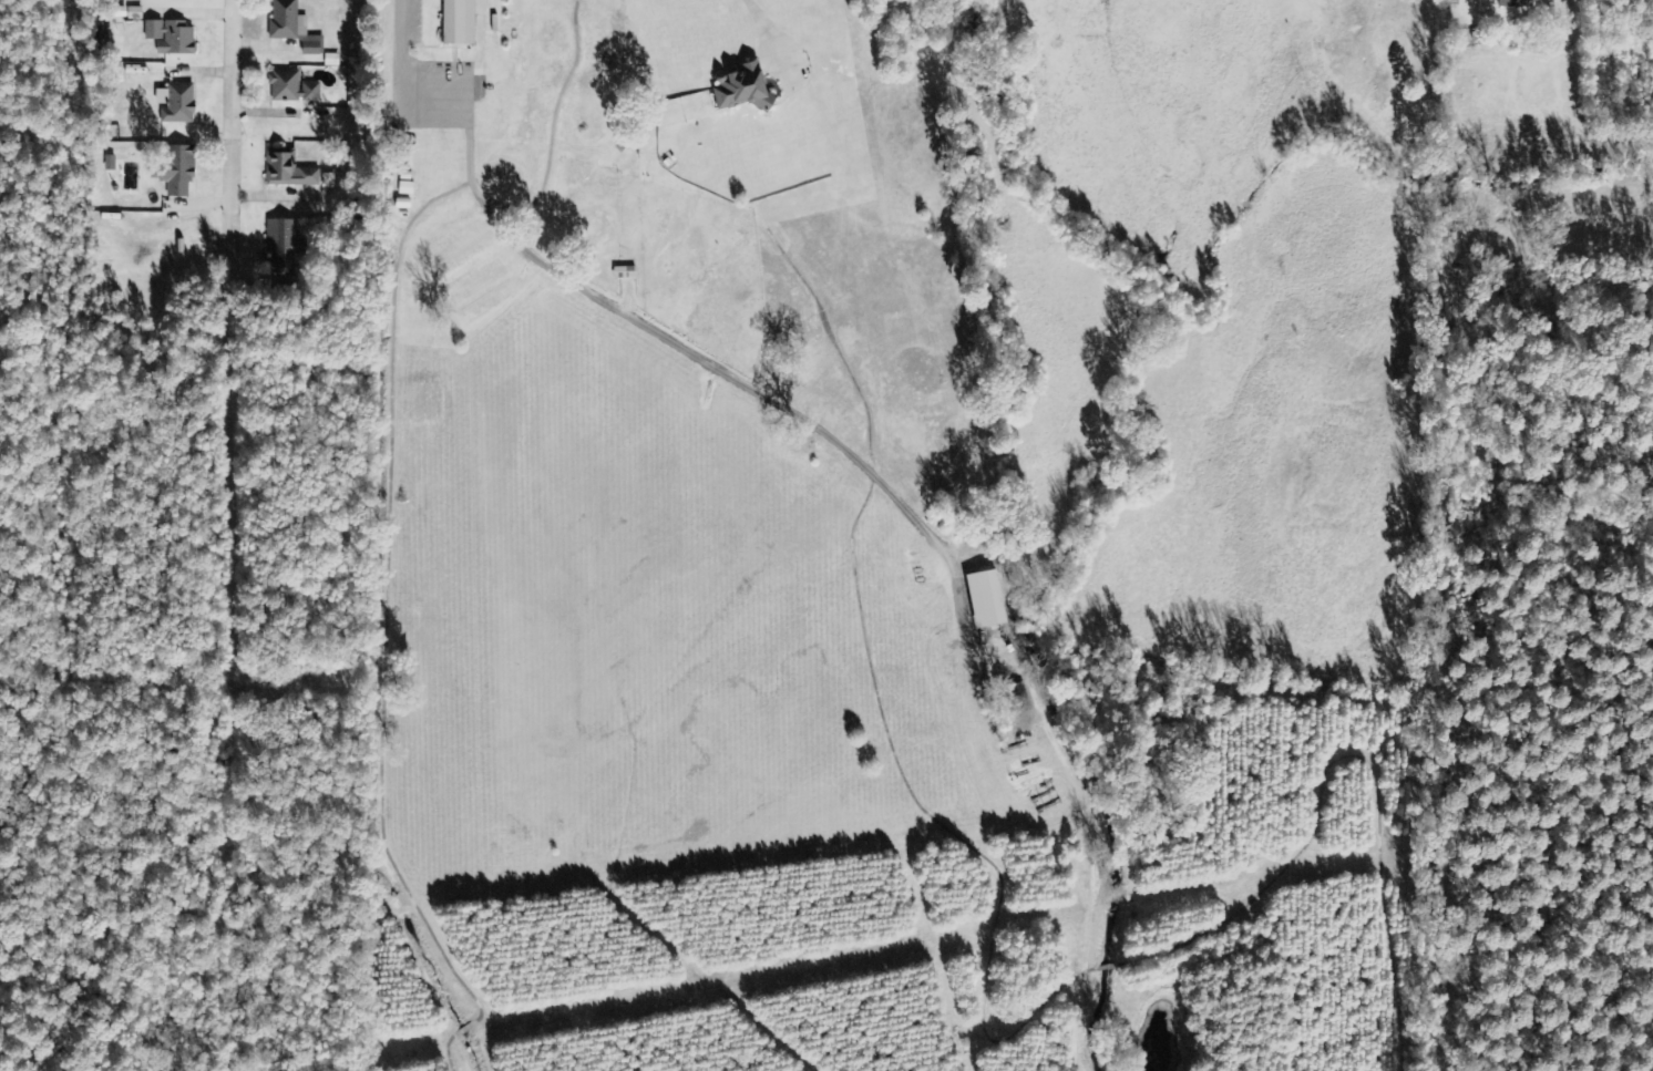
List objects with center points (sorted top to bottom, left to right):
building: (1515, 3)
building: (459, 22)
building: (292, 27)
building: (171, 38)
building: (331, 61)
building: (292, 89)
building: (743, 89)
building: (177, 103)
road: (229, 135)
building: (110, 164)
building: (288, 171)
building: (177, 172)
building: (327, 182)
building: (283, 243)
building: (625, 274)
building: (987, 599)

